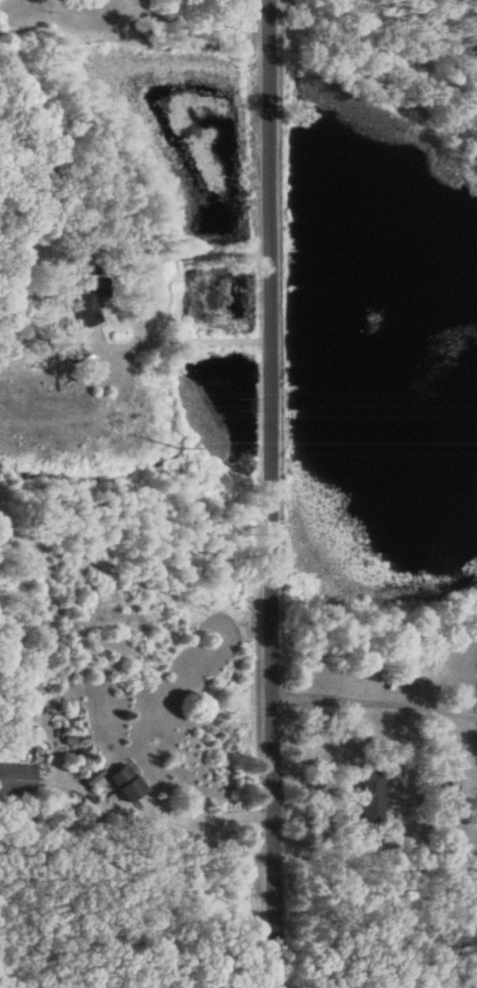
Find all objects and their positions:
building: (88, 292)
road: (181, 341)
building: (72, 352)
power tower: (238, 403)
power tower: (237, 447)
road: (263, 494)
road: (371, 700)
building: (16, 778)
building: (126, 782)
building: (370, 797)
road: (172, 819)

